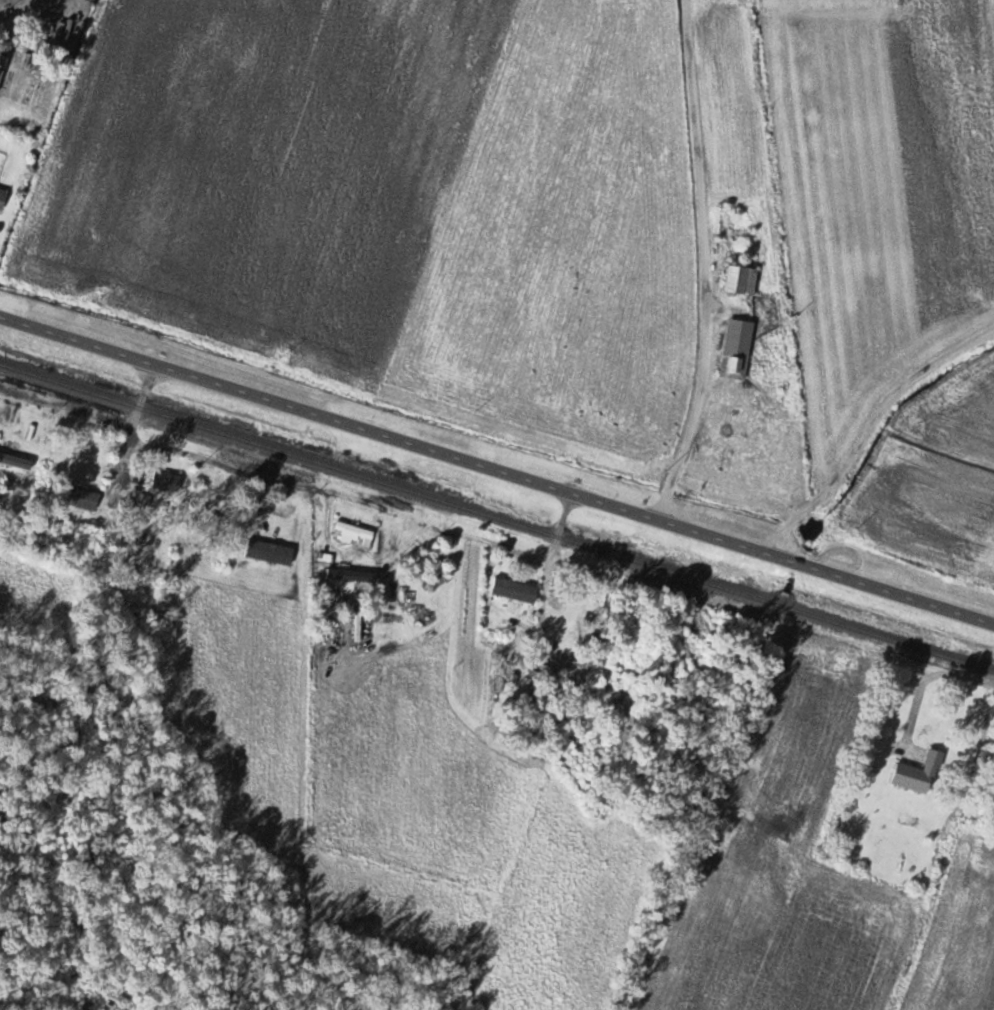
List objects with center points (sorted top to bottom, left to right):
road: (20, 10)
building: (2, 65)
building: (3, 198)
road: (705, 263)
building: (742, 279)
building: (738, 348)
road: (94, 412)
road: (497, 470)
building: (167, 480)
building: (84, 498)
building: (145, 499)
road: (363, 499)
building: (9, 500)
railway: (497, 514)
building: (355, 529)
building: (120, 538)
building: (270, 551)
building: (515, 590)
building: (559, 601)
building: (920, 773)

